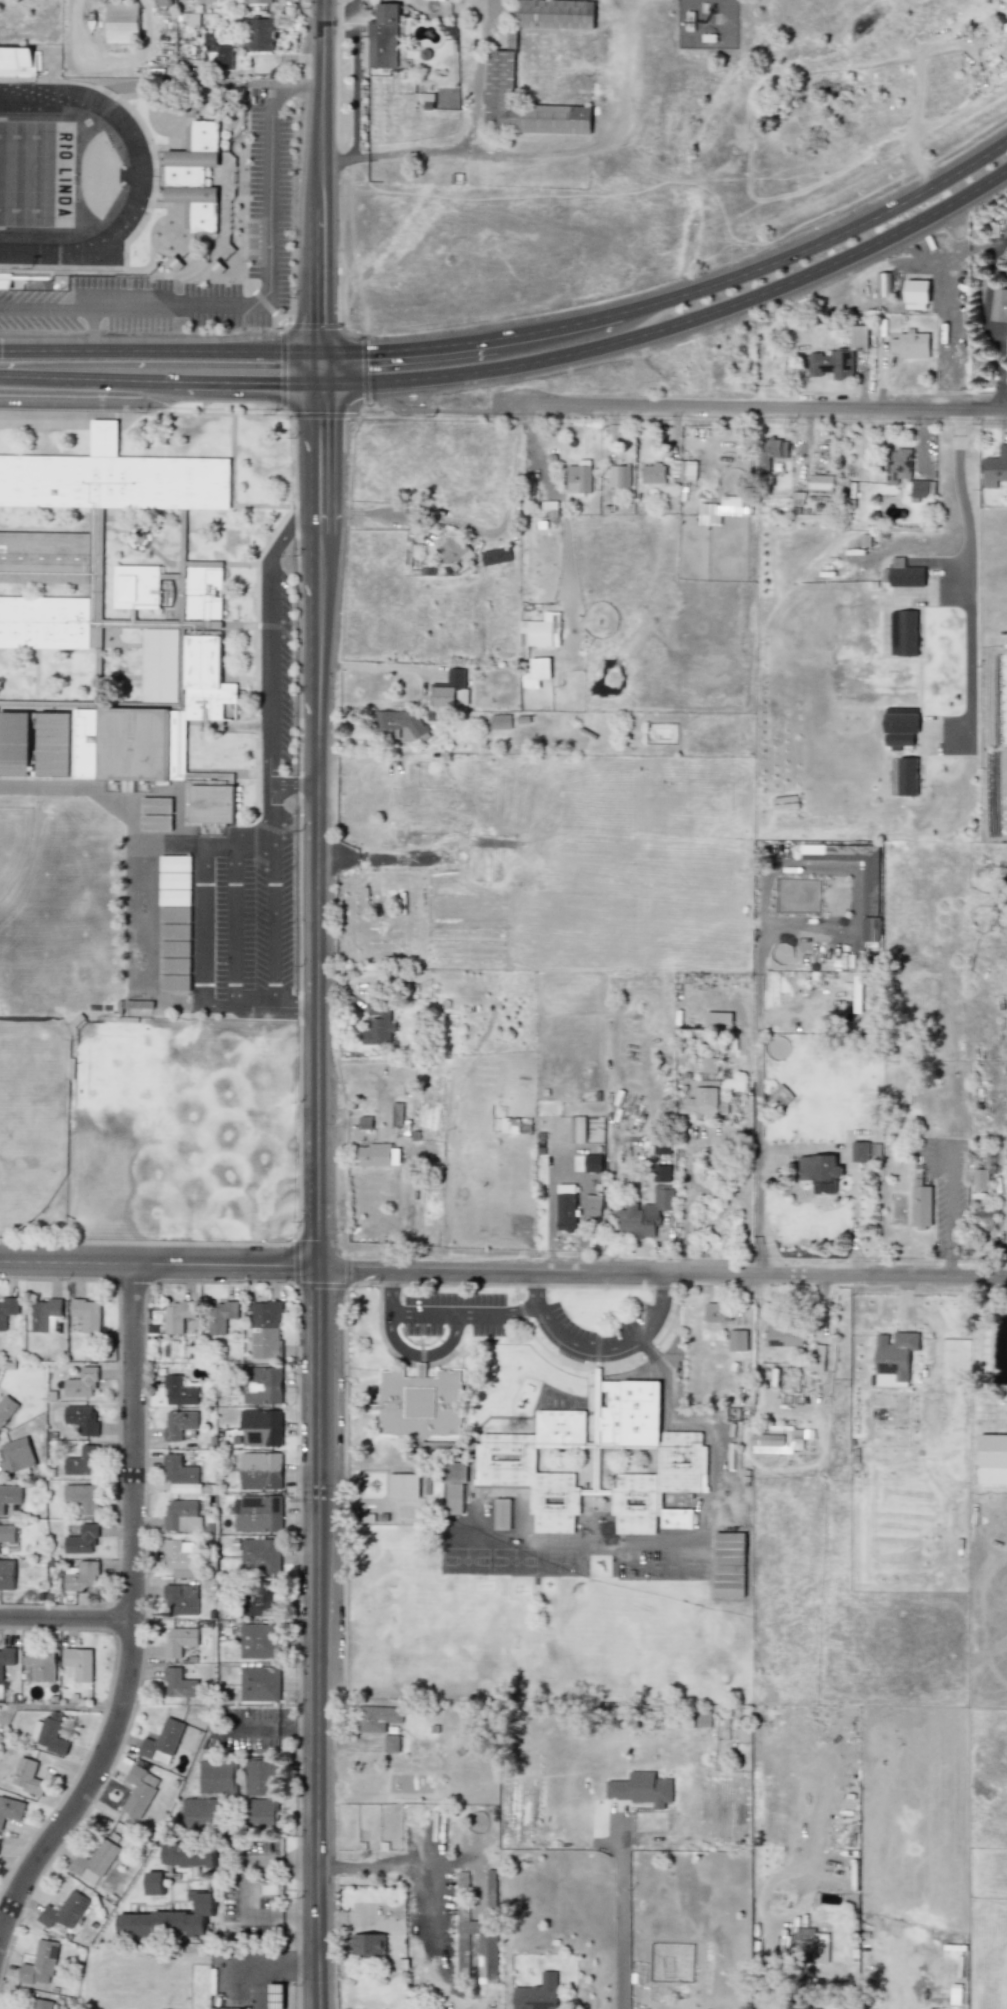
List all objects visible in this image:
building: (256, 1)
building: (163, 2)
building: (554, 14)
building: (121, 21)
building: (258, 34)
building: (382, 39)
building: (218, 55)
building: (15, 60)
road: (355, 78)
building: (524, 103)
road: (459, 138)
road: (600, 140)
road: (1003, 168)
track: (140, 169)
park: (36, 173)
track: (58, 174)
track: (67, 175)
building: (194, 176)
road: (322, 176)
road: (820, 239)
road: (984, 247)
building: (882, 284)
road: (957, 288)
building: (915, 294)
road: (261, 303)
building: (999, 305)
road: (673, 324)
road: (555, 326)
road: (93, 327)
building: (858, 336)
building: (910, 345)
road: (405, 347)
road: (159, 350)
traffic signals: (319, 353)
building: (842, 363)
road: (318, 367)
road: (84, 377)
road: (242, 381)
traffic signals: (318, 382)
road: (486, 386)
road: (438, 402)
road: (90, 403)
road: (752, 405)
building: (770, 451)
building: (897, 464)
building: (995, 467)
building: (683, 470)
building: (652, 473)
building: (618, 475)
building: (579, 478)
building: (820, 482)
building: (921, 488)
building: (723, 508)
road: (374, 512)
road: (562, 513)
building: (97, 520)
building: (454, 549)
building: (495, 555)
road: (969, 575)
building: (138, 585)
building: (903, 632)
building: (160, 665)
road: (375, 666)
building: (198, 684)
building: (450, 689)
building: (500, 721)
building: (395, 722)
building: (899, 729)
building: (86, 743)
building: (15, 744)
building: (55, 744)
building: (134, 744)
building: (907, 776)
road: (295, 786)
road: (108, 803)
building: (156, 804)
building: (155, 822)
road: (273, 837)
building: (175, 872)
building: (869, 887)
building: (174, 897)
building: (815, 899)
road: (762, 901)
building: (174, 914)
road: (236, 922)
road: (275, 922)
building: (175, 931)
building: (174, 948)
building: (174, 964)
building: (174, 982)
building: (718, 1016)
building: (379, 1022)
building: (704, 1091)
building: (781, 1096)
building: (397, 1113)
park: (34, 1116)
building: (365, 1123)
building: (576, 1128)
road: (804, 1146)
building: (661, 1147)
building: (859, 1151)
building: (374, 1154)
building: (593, 1162)
building: (819, 1171)
building: (661, 1173)
building: (981, 1179)
road: (318, 1195)
road: (684, 1201)
building: (592, 1205)
building: (920, 1205)
building: (566, 1212)
building: (643, 1213)
building: (987, 1215)
road: (503, 1270)
building: (7, 1309)
building: (716, 1312)
building: (87, 1313)
building: (45, 1314)
road: (442, 1314)
building: (178, 1315)
building: (220, 1315)
building: (266, 1329)
building: (784, 1335)
building: (738, 1339)
road: (600, 1346)
building: (895, 1353)
road: (422, 1357)
building: (81, 1383)
building: (262, 1385)
building: (179, 1391)
building: (419, 1402)
building: (6, 1408)
road: (687, 1414)
building: (81, 1418)
building: (179, 1423)
building: (261, 1427)
building: (780, 1439)
building: (992, 1450)
building: (16, 1455)
building: (505, 1460)
building: (681, 1460)
building: (83, 1461)
building: (260, 1470)
building: (181, 1475)
building: (403, 1485)
building: (454, 1485)
building: (9, 1495)
building: (82, 1496)
building: (259, 1513)
building: (502, 1513)
building: (183, 1515)
building: (7, 1533)
building: (82, 1539)
building: (260, 1555)
building: (182, 1557)
building: (7, 1574)
building: (82, 1575)
building: (181, 1599)
building: (263, 1599)
road: (68, 1614)
road: (136, 1615)
building: (179, 1640)
building: (259, 1640)
building: (6, 1657)
building: (78, 1662)
building: (41, 1663)
building: (178, 1683)
building: (259, 1683)
building: (379, 1717)
building: (48, 1733)
building: (162, 1741)
building: (391, 1743)
building: (261, 1775)
building: (27, 1776)
building: (217, 1776)
building: (640, 1789)
building: (139, 1791)
building: (11, 1809)
building: (262, 1811)
building: (200, 1813)
building: (188, 1855)
building: (94, 1861)
building: (154, 1882)
road: (243, 1887)
building: (491, 1894)
building: (63, 1910)
building: (168, 1919)
road: (618, 1926)
building: (814, 1942)
building: (369, 1943)
building: (487, 1955)
road: (264, 1961)
building: (40, 1963)
building: (537, 1993)
building: (41, 2004)
building: (229, 2008)
road: (843, 2008)

